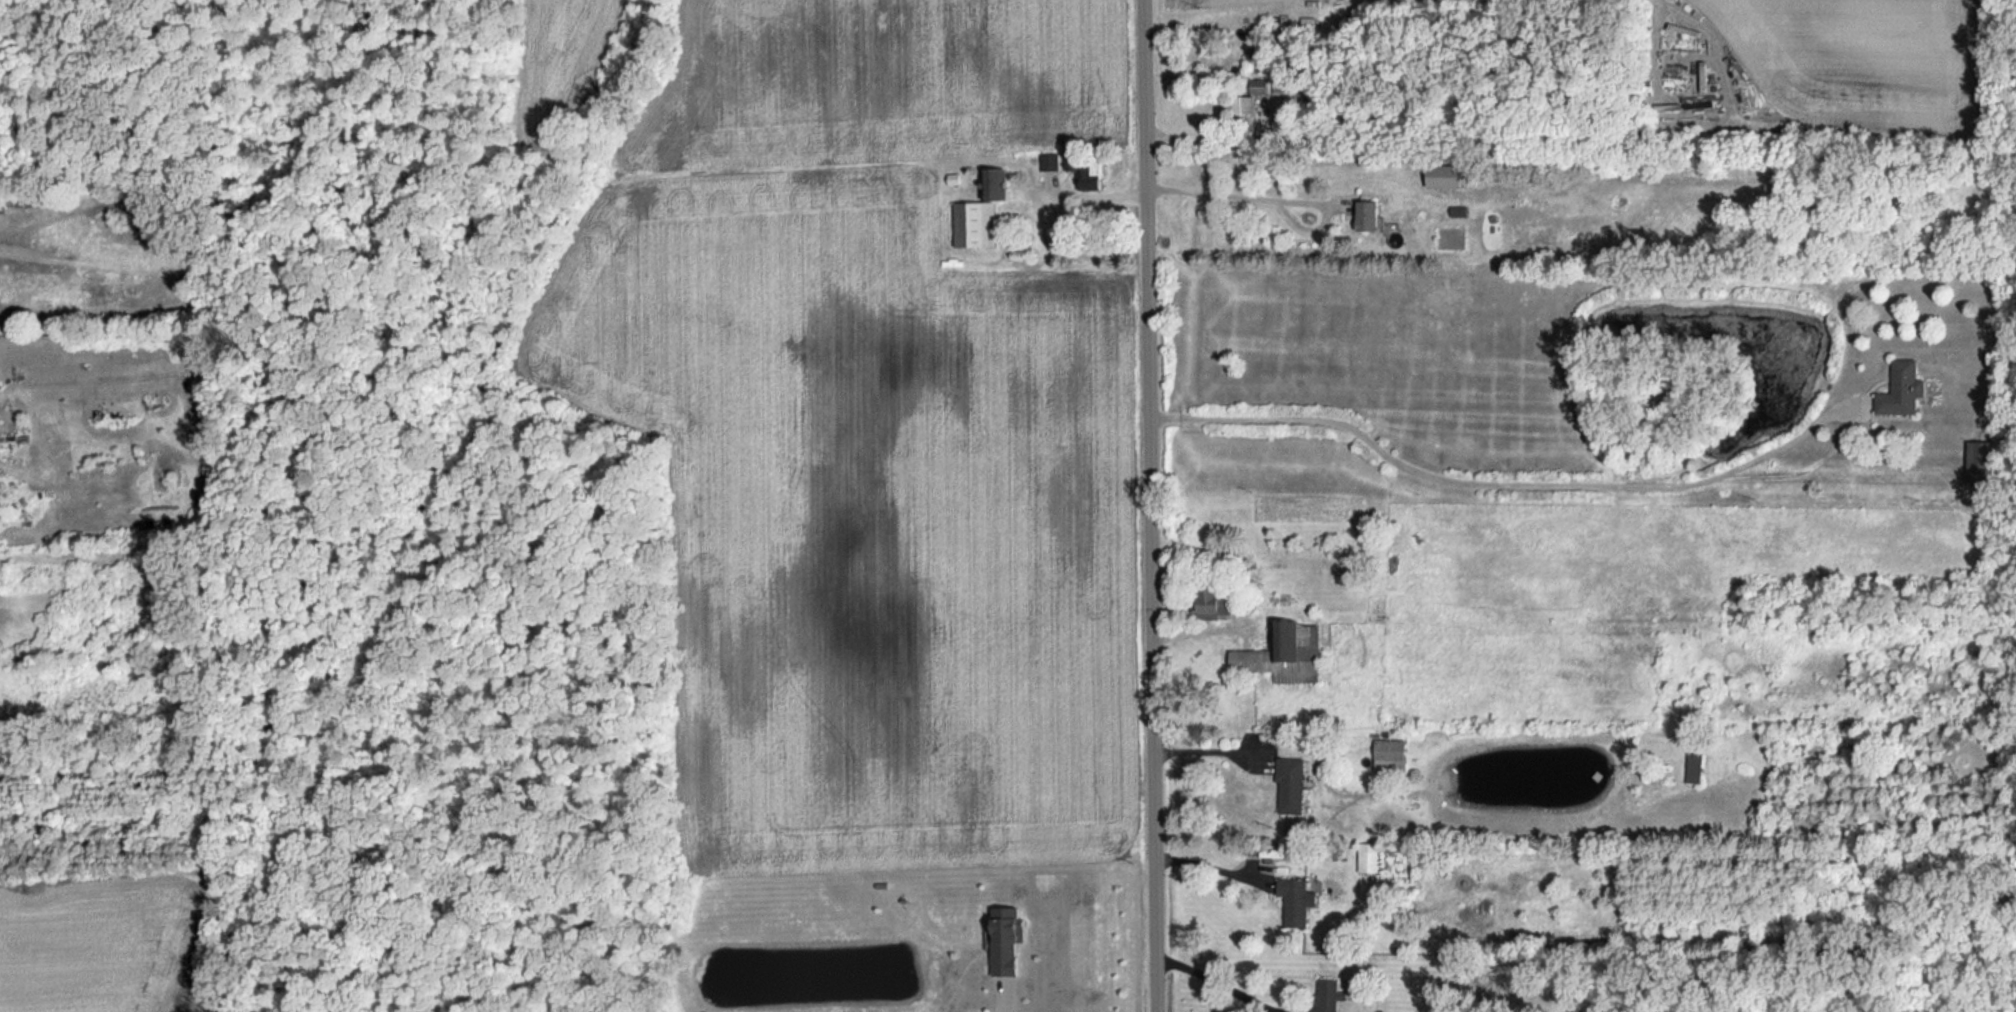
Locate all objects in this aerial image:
building: (1258, 87)
building: (1245, 105)
road: (1209, 138)
building: (1048, 162)
building: (1086, 173)
building: (1444, 176)
building: (993, 184)
road: (1236, 191)
building: (1367, 216)
building: (974, 224)
building: (1901, 390)
building: (1977, 464)
road: (1493, 478)
road: (1153, 505)
road: (1209, 748)
building: (1389, 756)
building: (1692, 769)
building: (1289, 786)
building: (1367, 862)
road: (1213, 865)
building: (1295, 901)
building: (1004, 940)
road: (1221, 980)
building: (1327, 995)
road: (1004, 1005)

